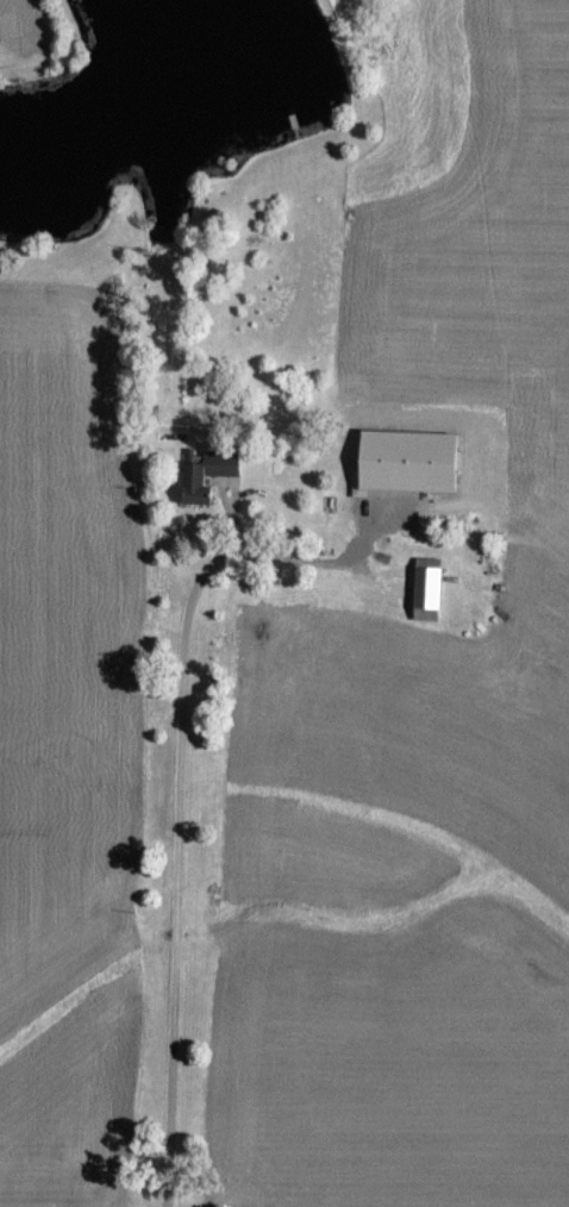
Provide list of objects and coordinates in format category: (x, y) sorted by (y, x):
building: (405, 459)
building: (192, 480)
building: (426, 588)
road: (185, 856)

